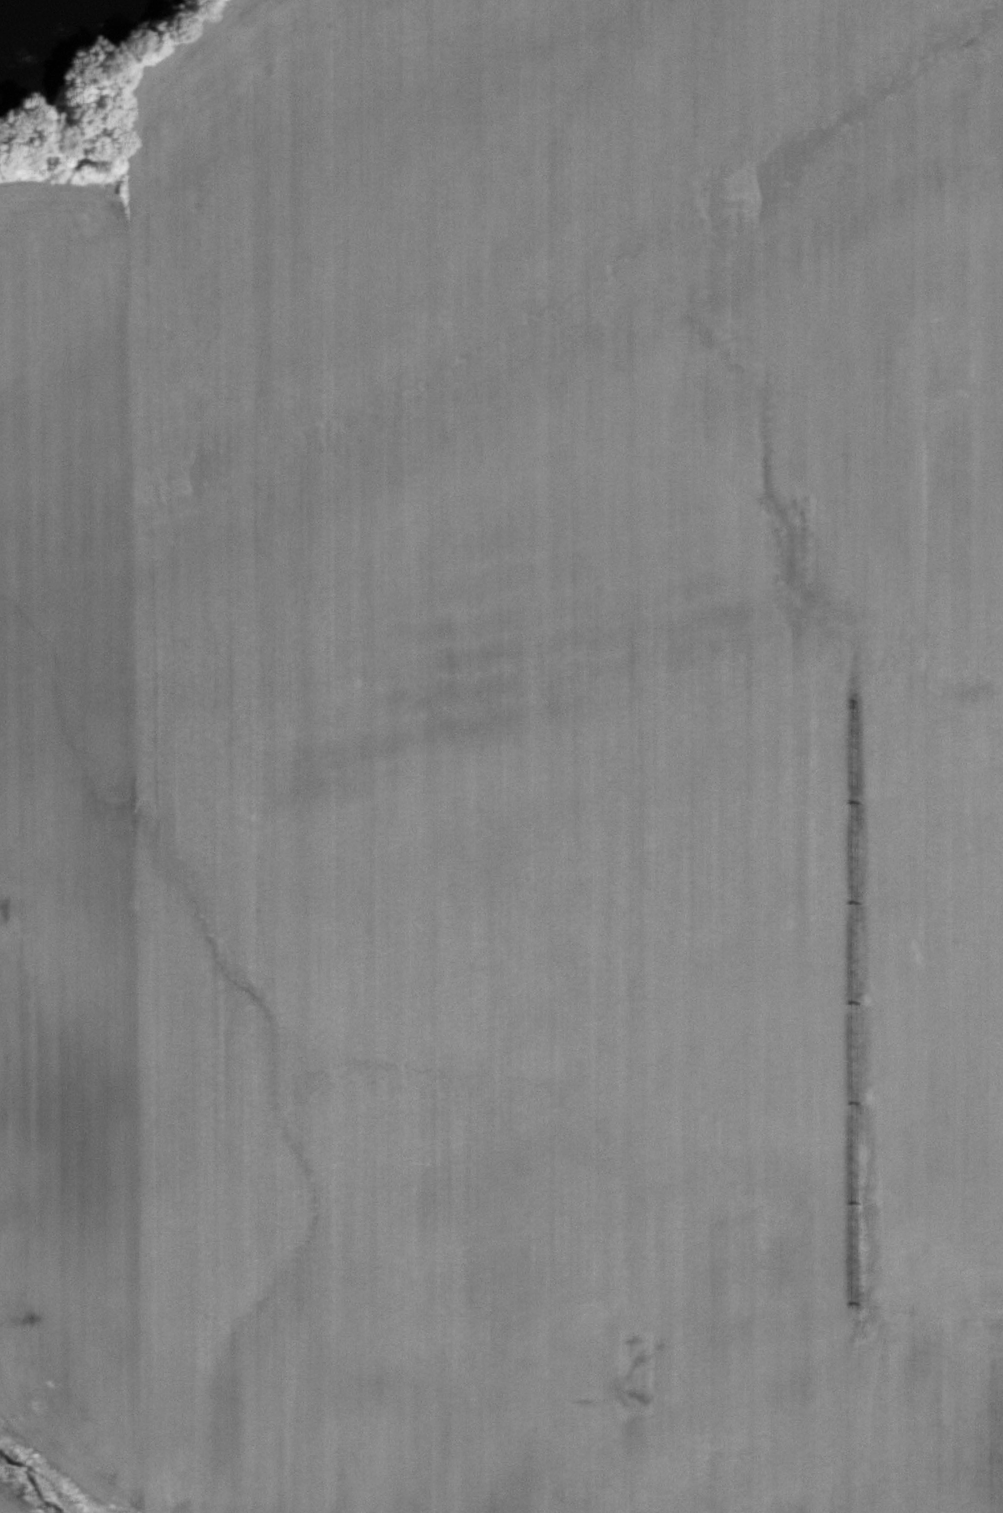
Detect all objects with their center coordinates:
river: (28, 19)
crop: (12, 1500)

